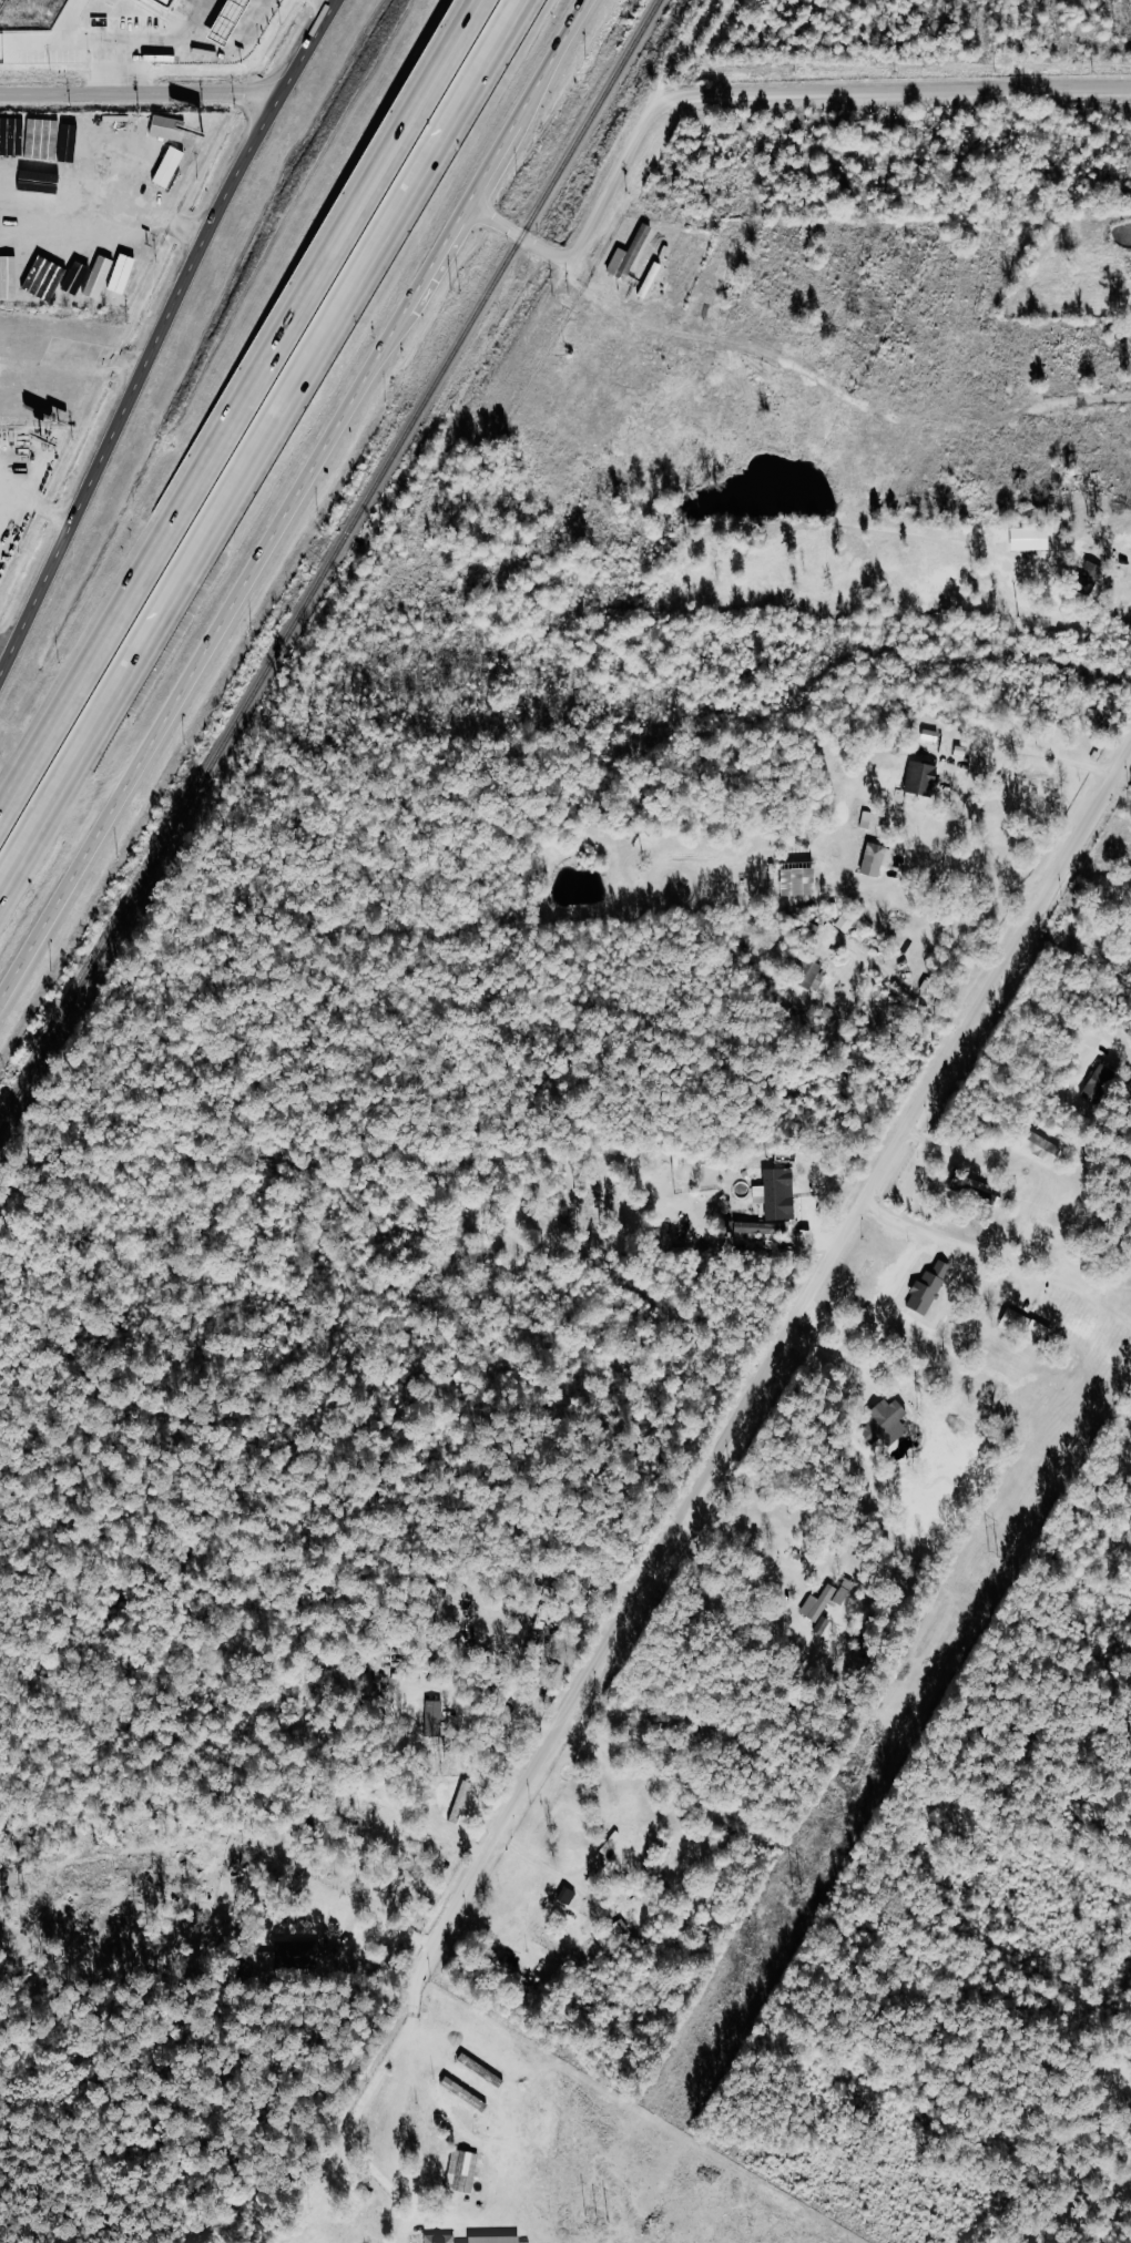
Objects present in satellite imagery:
building: (163, 2)
building: (176, 2)
building: (228, 21)
gas station: (228, 21)
road: (38, 42)
road: (67, 42)
road: (185, 50)
road: (140, 95)
road: (743, 95)
building: (172, 129)
building: (173, 167)
road: (105, 200)
building: (622, 263)
building: (0, 277)
building: (79, 278)
building: (30, 279)
building: (653, 281)
road: (160, 338)
road: (241, 408)
road: (263, 448)
road: (37, 501)
road: (296, 503)
road: (3, 509)
railway: (329, 563)
road: (8, 648)
building: (926, 778)
road: (967, 793)
building: (880, 859)
building: (805, 881)
building: (849, 921)
building: (812, 973)
road: (1048, 1017)
building: (1102, 1083)
building: (777, 1194)
building: (757, 1228)
road: (956, 1238)
road: (809, 1307)
building: (1031, 1326)
road: (740, 1544)
power tower: (991, 1553)
building: (821, 1604)
power tower: (798, 1889)
building: (569, 1894)
road: (386, 1923)
building: (618, 1935)
building: (306, 1962)
road: (418, 2043)
building: (466, 2092)
building: (466, 2170)
power tower: (600, 2223)
building: (444, 2239)
building: (501, 2239)

